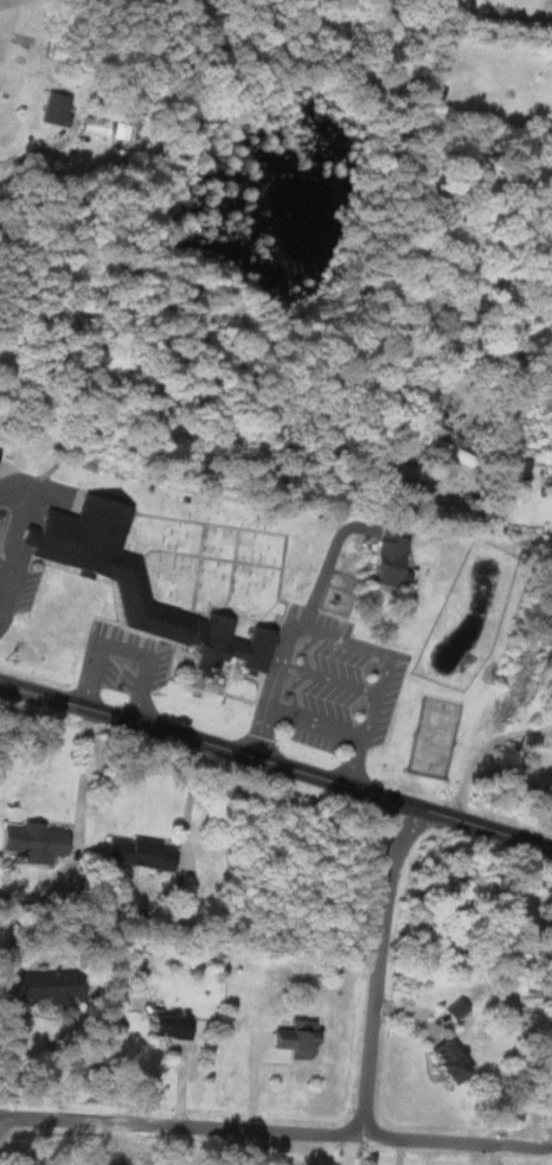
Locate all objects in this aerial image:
building: (52, 110)
building: (92, 127)
road: (32, 154)
road: (528, 393)
road: (429, 403)
building: (441, 442)
building: (389, 555)
park: (208, 556)
building: (133, 583)
road: (339, 639)
road: (126, 652)
road: (484, 753)
road: (276, 763)
road: (83, 780)
road: (187, 801)
building: (31, 841)
building: (135, 853)
road: (379, 969)
building: (45, 986)
building: (525, 999)
building: (454, 1009)
building: (166, 1026)
building: (290, 1038)
road: (4, 1039)
building: (442, 1061)
road: (275, 1131)
road: (347, 1150)

